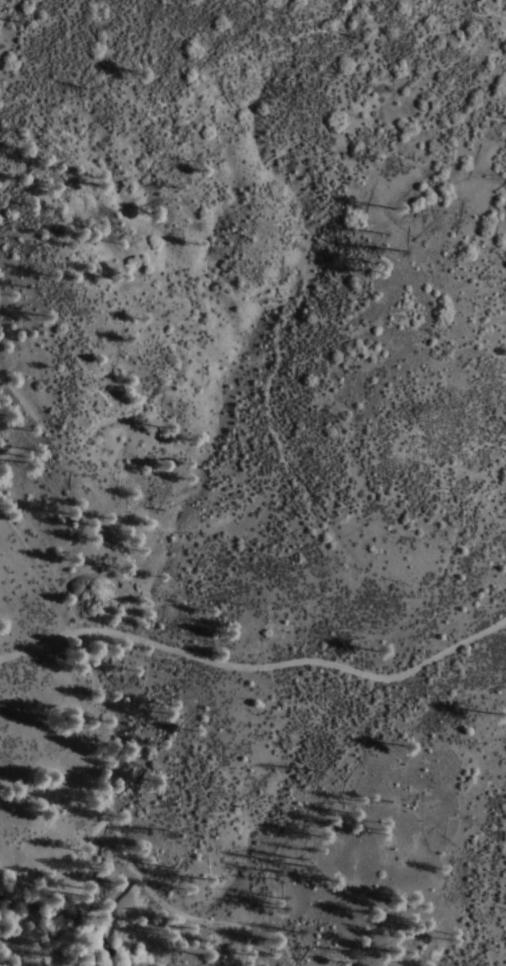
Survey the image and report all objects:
road: (115, 831)

